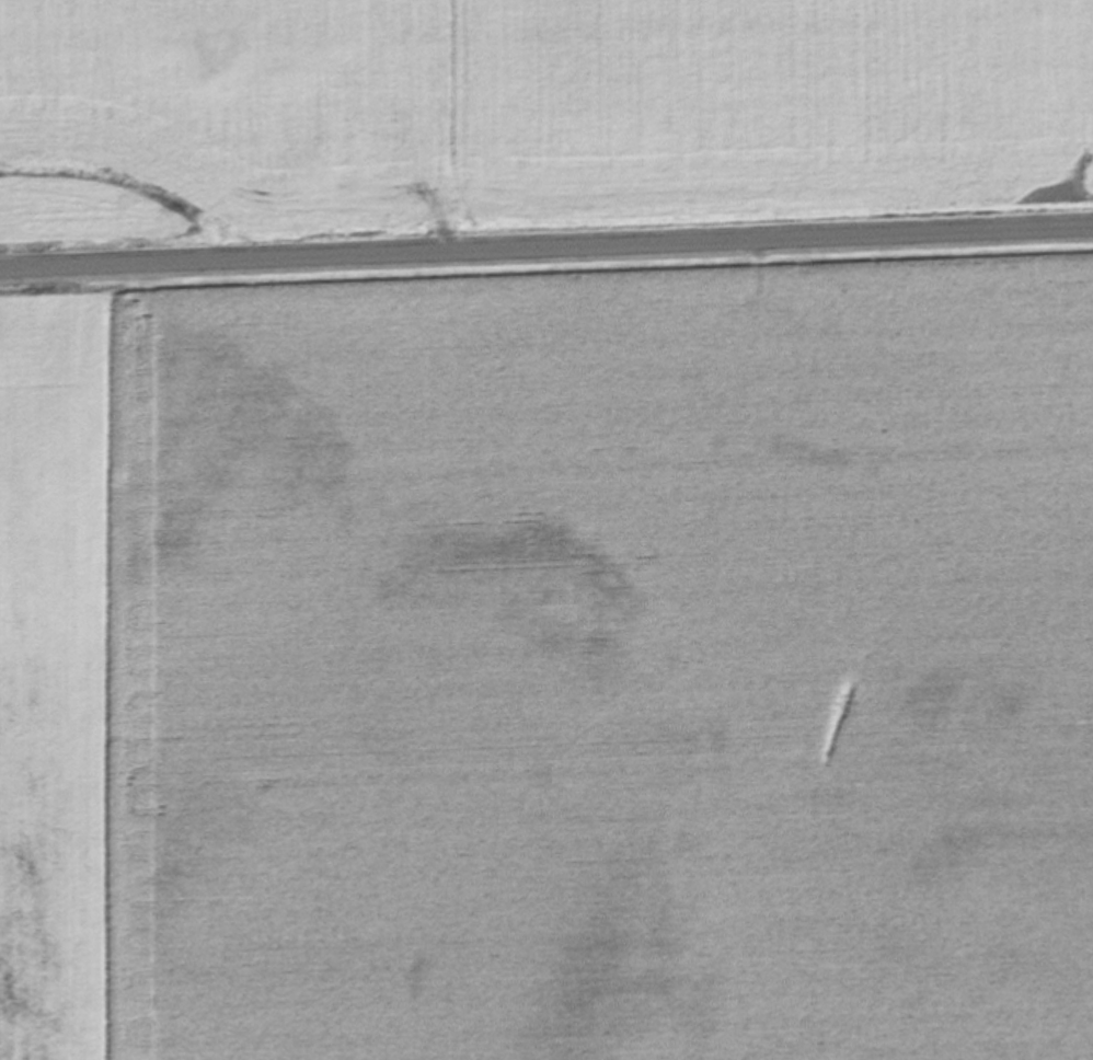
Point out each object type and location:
road: (546, 250)

